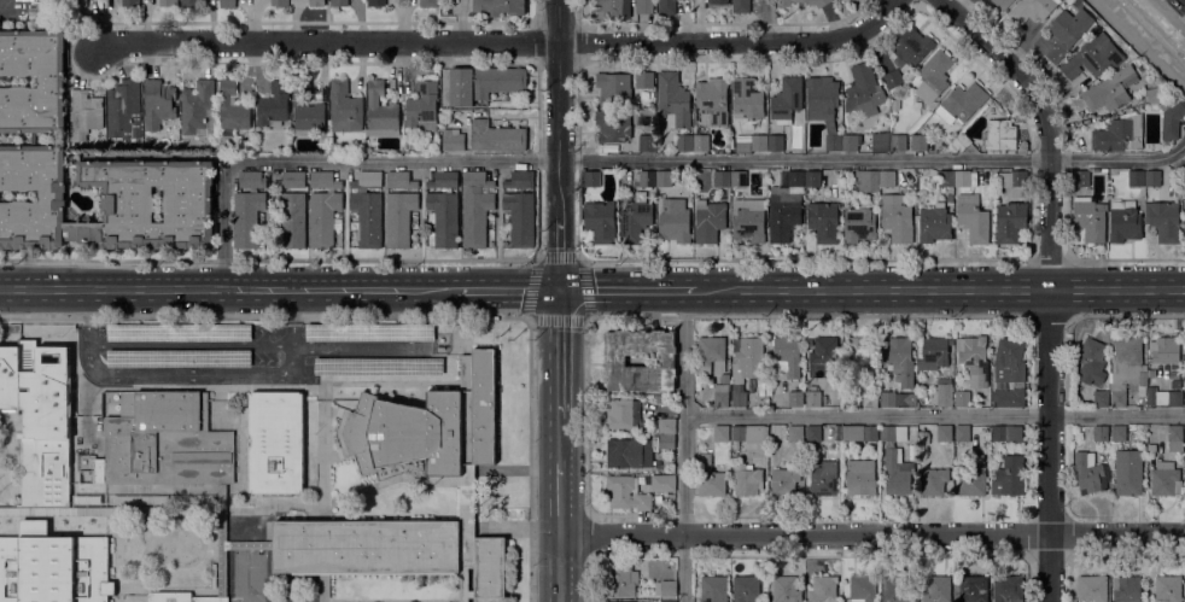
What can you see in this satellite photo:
building: (718, 1)
building: (78, 2)
building: (130, 2)
building: (168, 2)
building: (279, 2)
building: (316, 2)
building: (339, 2)
building: (375, 2)
building: (428, 2)
building: (793, 2)
building: (1003, 2)
building: (189, 4)
building: (227, 4)
building: (821, 4)
building: (643, 6)
building: (666, 6)
building: (741, 6)
building: (497, 7)
building: (612, 7)
building: (1032, 10)
road: (1171, 13)
building: (1063, 34)
road: (506, 42)
road: (1139, 45)
building: (910, 48)
building: (1093, 57)
building: (933, 76)
building: (893, 78)
building: (51, 81)
building: (483, 83)
building: (621, 86)
building: (1111, 89)
building: (864, 90)
building: (1157, 95)
building: (747, 98)
building: (787, 99)
building: (672, 100)
building: (712, 101)
building: (158, 103)
building: (962, 103)
building: (917, 104)
building: (273, 105)
building: (422, 106)
building: (824, 106)
building: (344, 107)
road: (558, 107)
building: (198, 109)
building: (123, 110)
building: (307, 110)
building: (381, 111)
building: (83, 113)
building: (1172, 118)
building: (232, 119)
building: (613, 124)
building: (1120, 134)
building: (999, 135)
building: (496, 136)
building: (34, 138)
building: (453, 139)
building: (647, 141)
building: (759, 141)
building: (851, 141)
building: (878, 141)
building: (918, 141)
building: (684, 142)
building: (700, 142)
building: (775, 142)
building: (898, 142)
building: (961, 142)
building: (742, 146)
road: (647, 160)
building: (1181, 169)
building: (664, 177)
building: (722, 177)
building: (737, 177)
building: (812, 177)
building: (887, 177)
building: (945, 177)
building: (962, 177)
building: (1081, 177)
building: (1136, 177)
building: (1152, 177)
building: (251, 179)
building: (399, 179)
building: (520, 179)
building: (592, 179)
building: (644, 179)
building: (291, 180)
building: (367, 180)
building: (443, 180)
building: (866, 181)
building: (1014, 182)
building: (950, 197)
building: (105, 200)
building: (784, 206)
building: (323, 208)
building: (475, 208)
building: (247, 217)
building: (291, 217)
building: (367, 217)
building: (399, 217)
building: (520, 217)
building: (635, 218)
building: (825, 218)
building: (897, 218)
building: (973, 218)
building: (1090, 218)
building: (443, 220)
building: (748, 220)
building: (1163, 220)
building: (600, 221)
building: (708, 221)
building: (1010, 221)
building: (1125, 221)
building: (673, 222)
building: (859, 223)
building: (934, 223)
building: (1184, 227)
road: (559, 252)
road: (582, 265)
road: (1049, 279)
road: (227, 290)
road: (507, 290)
traffic signals: (560, 290)
road: (627, 290)
road: (816, 290)
road: (992, 290)
road: (1105, 291)
road: (1173, 292)
road: (405, 316)
building: (179, 331)
building: (370, 332)
road: (191, 343)
road: (361, 344)
building: (824, 350)
building: (1167, 350)
building: (860, 351)
road: (560, 352)
building: (934, 352)
building: (1092, 353)
building: (711, 355)
building: (179, 357)
building: (786, 357)
building: (748, 358)
building: (615, 360)
building: (901, 360)
building: (974, 360)
building: (1009, 361)
building: (379, 366)
building: (1127, 367)
road: (192, 372)
building: (1174, 374)
building: (724, 378)
building: (944, 392)
building: (722, 394)
building: (739, 394)
building: (1009, 397)
building: (1164, 397)
building: (1184, 397)
building: (794, 398)
building: (813, 398)
building: (870, 398)
building: (888, 398)
building: (962, 398)
building: (1101, 398)
building: (903, 399)
building: (763, 404)
building: (620, 413)
road: (934, 414)
building: (40, 416)
road: (586, 416)
building: (430, 423)
building: (664, 425)
building: (1137, 427)
building: (870, 432)
building: (945, 432)
building: (962, 432)
building: (1006, 432)
building: (1101, 432)
building: (1119, 432)
building: (722, 433)
building: (749, 433)
building: (795, 433)
building: (812, 433)
building: (893, 433)
building: (770, 434)
building: (987, 434)
building: (1175, 438)
road: (560, 439)
building: (165, 440)
building: (275, 440)
building: (666, 442)
road: (684, 445)
building: (624, 452)
building: (825, 452)
building: (898, 469)
building: (1128, 472)
building: (1090, 473)
building: (710, 477)
building: (860, 477)
building: (1009, 477)
building: (823, 478)
building: (974, 478)
building: (747, 479)
building: (1166, 479)
building: (784, 480)
building: (933, 480)
building: (664, 483)
building: (467, 487)
building: (626, 493)
road: (560, 497)
building: (139, 498)
building: (5, 509)
road: (871, 533)
building: (222, 534)
road: (586, 534)
building: (396, 550)
building: (53, 566)
road: (560, 567)
road: (586, 579)
building: (620, 580)
building: (666, 588)
building: (863, 588)
building: (895, 588)
building: (1092, 588)
building: (1126, 588)
building: (1168, 588)
building: (713, 589)
building: (746, 589)
building: (786, 589)
building: (822, 589)
building: (936, 589)
building: (973, 589)
building: (1008, 589)
building: (181, 597)
building: (620, 601)
building: (669, 601)

